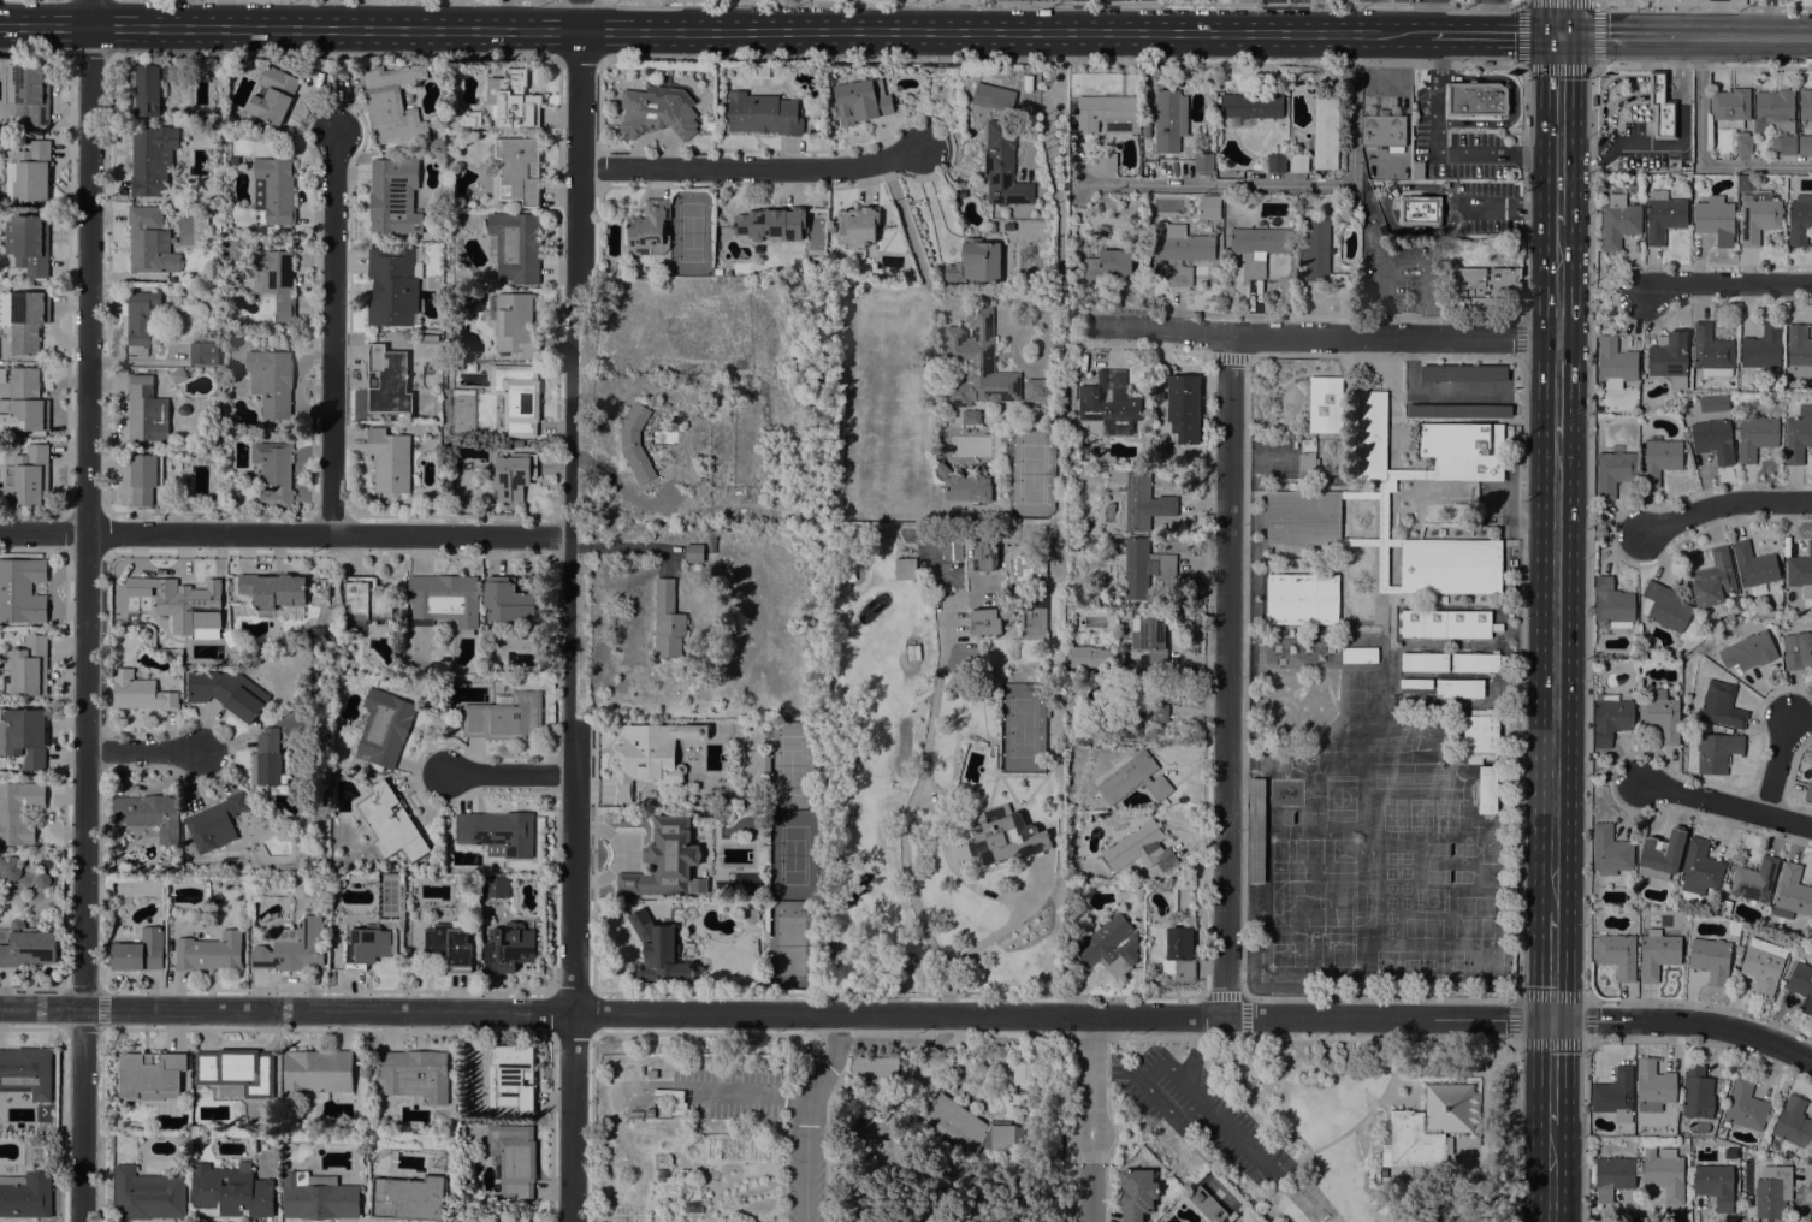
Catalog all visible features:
road: (578, 0)
road: (1064, 1)
road: (1594, 2)
building: (1628, 2)
road: (1769, 2)
road: (1681, 5)
road: (1790, 6)
road: (88, 13)
road: (578, 16)
road: (1062, 16)
road: (1426, 16)
road: (1488, 17)
road: (1559, 17)
road: (1718, 18)
road: (1769, 22)
road: (707, 31)
road: (1421, 34)
road: (1432, 34)
road: (1498, 35)
traffic signals: (1559, 35)
road: (1619, 36)
road: (1746, 37)
road: (34, 54)
road: (88, 55)
road: (331, 57)
road: (579, 58)
road: (1189, 64)
road: (1594, 65)
road: (1613, 81)
building: (149, 85)
road: (333, 90)
building: (29, 91)
building: (272, 95)
road: (1627, 96)
building: (860, 97)
building: (994, 97)
building: (1476, 99)
building: (513, 100)
building: (393, 103)
building: (1251, 105)
building: (1662, 107)
building: (1730, 107)
building: (1806, 107)
building: (1773, 109)
building: (657, 112)
building: (763, 113)
building: (1108, 114)
building: (709, 117)
building: (468, 118)
building: (1169, 118)
building: (709, 125)
building: (257, 126)
building: (1325, 130)
building: (1384, 130)
road: (1558, 130)
building: (1742, 143)
road: (1671, 144)
building: (1784, 144)
building: (1805, 144)
road: (1053, 148)
parking lot: (1639, 148)
road: (1439, 152)
road: (1699, 156)
building: (150, 160)
building: (1107, 161)
building: (1203, 162)
building: (1275, 162)
building: (1298, 162)
building: (1003, 165)
road: (750, 167)
building: (519, 170)
building: (1417, 170)
building: (31, 172)
road: (1287, 184)
building: (276, 189)
building: (393, 196)
road: (928, 200)
road: (1509, 206)
building: (1209, 207)
road: (1385, 210)
building: (1420, 210)
building: (1757, 210)
building: (1663, 215)
building: (1715, 216)
building: (1799, 220)
building: (771, 224)
building: (1618, 224)
building: (857, 226)
building: (1008, 226)
building: (649, 229)
building: (1024, 233)
building: (147, 239)
building: (278, 241)
building: (28, 243)
building: (515, 245)
building: (1259, 247)
building: (235, 249)
building: (1179, 250)
building: (1322, 256)
building: (1103, 261)
building: (975, 262)
building: (718, 271)
building: (807, 271)
road: (1385, 272)
building: (276, 280)
road: (1426, 280)
road: (1557, 281)
road: (1727, 283)
building: (1485, 285)
building: (393, 286)
road: (1616, 295)
road: (960, 298)
building: (23, 318)
building: (142, 320)
building: (514, 324)
road: (331, 330)
road: (1320, 336)
building: (428, 338)
road: (1521, 340)
building: (1763, 348)
building: (1799, 351)
building: (1712, 352)
building: (203, 354)
building: (1669, 357)
building: (1615, 361)
building: (976, 362)
building: (1462, 373)
building: (177, 375)
building: (271, 381)
building: (387, 381)
road: (1556, 388)
building: (1037, 390)
building: (517, 397)
building: (26, 401)
building: (1109, 403)
building: (1325, 404)
building: (1183, 407)
building: (146, 410)
building: (1458, 410)
road: (1589, 422)
building: (1369, 434)
building: (1798, 434)
building: (1754, 435)
building: (1713, 440)
building: (634, 443)
building: (1463, 450)
building: (1308, 453)
building: (1106, 457)
building: (1658, 458)
building: (389, 459)
building: (1613, 470)
building: (274, 473)
building: (513, 475)
building: (28, 477)
building: (144, 477)
building: (964, 484)
building: (1291, 486)
building: (1141, 498)
road: (1723, 503)
road: (85, 517)
building: (1303, 517)
building: (789, 518)
building: (1385, 518)
road: (284, 533)
road: (1615, 533)
building: (711, 538)
building: (952, 545)
road: (627, 546)
building: (1074, 546)
building: (987, 551)
building: (1302, 551)
building: (694, 553)
building: (1271, 564)
building: (1754, 565)
building: (697, 566)
building: (1031, 566)
building: (1451, 566)
building: (1145, 568)
building: (905, 569)
building: (1800, 569)
building: (1712, 579)
building: (22, 591)
building: (272, 591)
building: (366, 598)
building: (1302, 599)
building: (1443, 599)
building: (444, 600)
building: (505, 600)
building: (1612, 601)
building: (180, 603)
building: (1735, 603)
building: (1664, 606)
building: (1032, 618)
building: (667, 619)
building: (983, 622)
building: (1447, 624)
road: (567, 627)
building: (1150, 637)
building: (515, 640)
building: (1798, 649)
building: (1748, 651)
building: (1360, 654)
building: (1088, 657)
building: (1425, 662)
building: (1475, 663)
building: (29, 666)
road: (1244, 675)
road: (1226, 676)
road: (1555, 676)
road: (1517, 681)
building: (1415, 683)
building: (1459, 688)
building: (140, 692)
building: (227, 692)
building: (1721, 706)
building: (1130, 707)
building: (1155, 712)
building: (1660, 716)
building: (504, 717)
building: (1610, 718)
building: (384, 728)
building: (23, 736)
building: (1480, 737)
building: (277, 748)
road: (141, 751)
building: (1716, 752)
building: (650, 755)
building: (764, 764)
road: (1775, 765)
road: (508, 773)
building: (1133, 778)
road: (1613, 781)
building: (1486, 789)
building: (1808, 791)
road: (1725, 803)
building: (19, 812)
building: (149, 814)
road: (906, 817)
building: (214, 823)
building: (391, 824)
building: (497, 832)
building: (1006, 836)
building: (1139, 849)
building: (1610, 850)
building: (1662, 854)
building: (766, 855)
building: (665, 860)
building: (1700, 867)
building: (8, 868)
building: (1754, 880)
building: (339, 882)
building: (496, 886)
building: (1792, 894)
building: (1594, 906)
building: (1725, 907)
building: (538, 939)
building: (29, 943)
building: (368, 945)
building: (1109, 945)
building: (292, 947)
building: (449, 947)
building: (508, 948)
building: (138, 951)
building: (659, 951)
building: (209, 953)
building: (1179, 954)
building: (1657, 954)
building: (1617, 955)
building: (1711, 959)
road: (1552, 966)
building: (1763, 966)
building: (1801, 985)
road: (776, 1013)
traffic signals: (1552, 1019)
road: (1684, 1022)
road: (610, 1033)
road: (905, 1034)
road: (955, 1037)
road: (1090, 1037)
road: (1313, 1037)
road: (1515, 1042)
road: (834, 1043)
road: (1195, 1045)
building: (985, 1064)
building: (875, 1068)
road: (825, 1069)
building: (26, 1072)
building: (236, 1072)
building: (663, 1072)
road: (1551, 1072)
building: (316, 1073)
building: (150, 1074)
building: (414, 1074)
building: (652, 1074)
building: (511, 1076)
building: (1653, 1085)
road: (1190, 1087)
road: (1090, 1088)
road: (1149, 1092)
building: (1696, 1092)
building: (1615, 1095)
building: (670, 1098)
road: (1073, 1102)
road: (1106, 1102)
building: (1746, 1105)
building: (649, 1111)
building: (635, 1114)
road: (82, 1115)
building: (1793, 1123)
building: (969, 1127)
building: (1428, 1129)
road: (1514, 1132)
road: (1585, 1132)
building: (1722, 1132)
road: (827, 1137)
building: (514, 1159)
building: (662, 1173)
road: (806, 1173)
road: (1550, 1173)
building: (1664, 1173)
building: (1611, 1176)
building: (1375, 1177)
building: (1716, 1184)
building: (687, 1185)
building: (231, 1191)
building: (1773, 1191)
road: (1090, 1192)
building: (1137, 1193)
building: (26, 1194)
building: (147, 1194)
building: (319, 1197)
building: (409, 1198)
building: (1206, 1204)
building: (1473, 1218)
building: (1162, 1221)
building: (1166, 1221)

